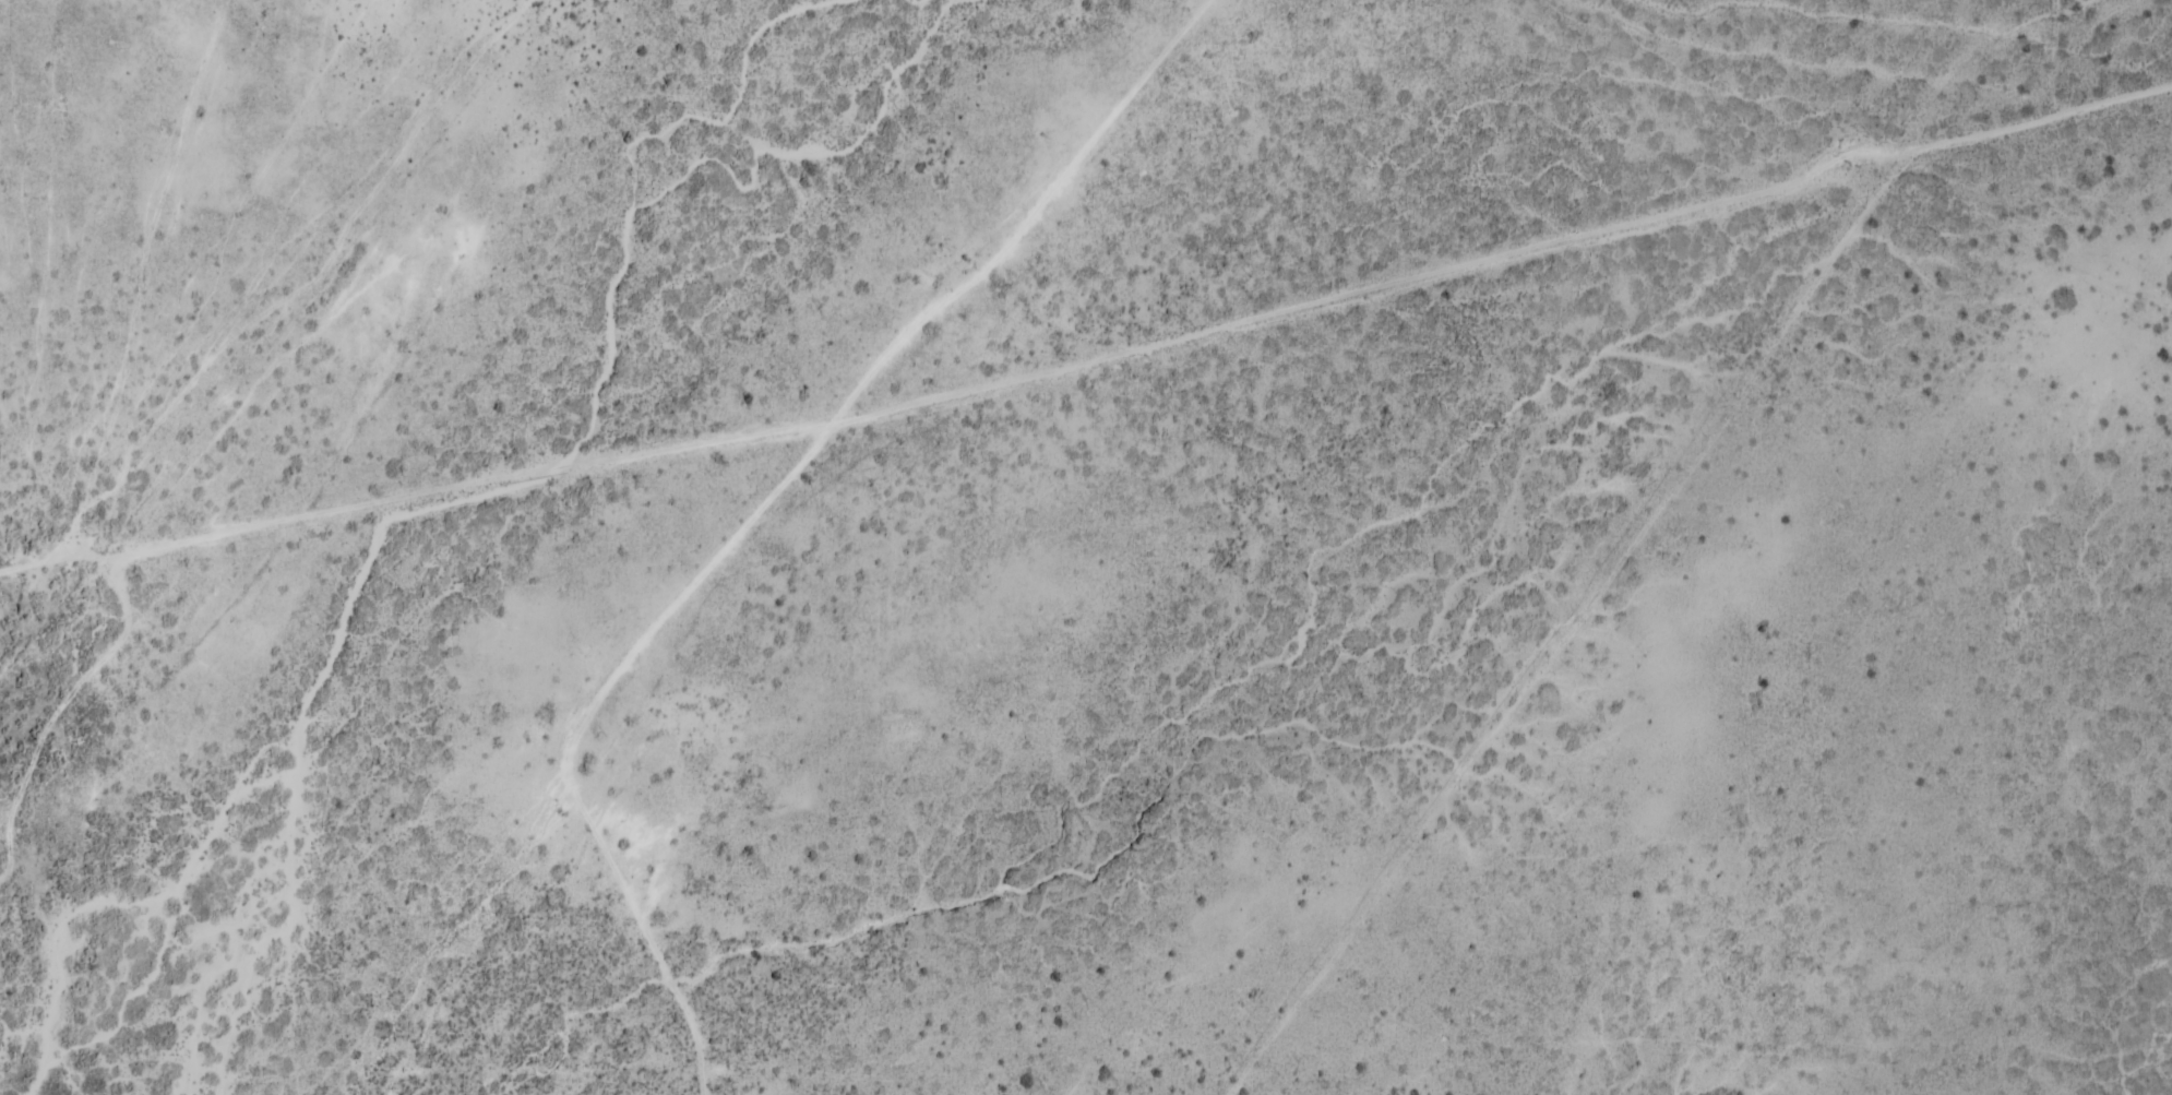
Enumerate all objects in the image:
road: (1088, 343)

